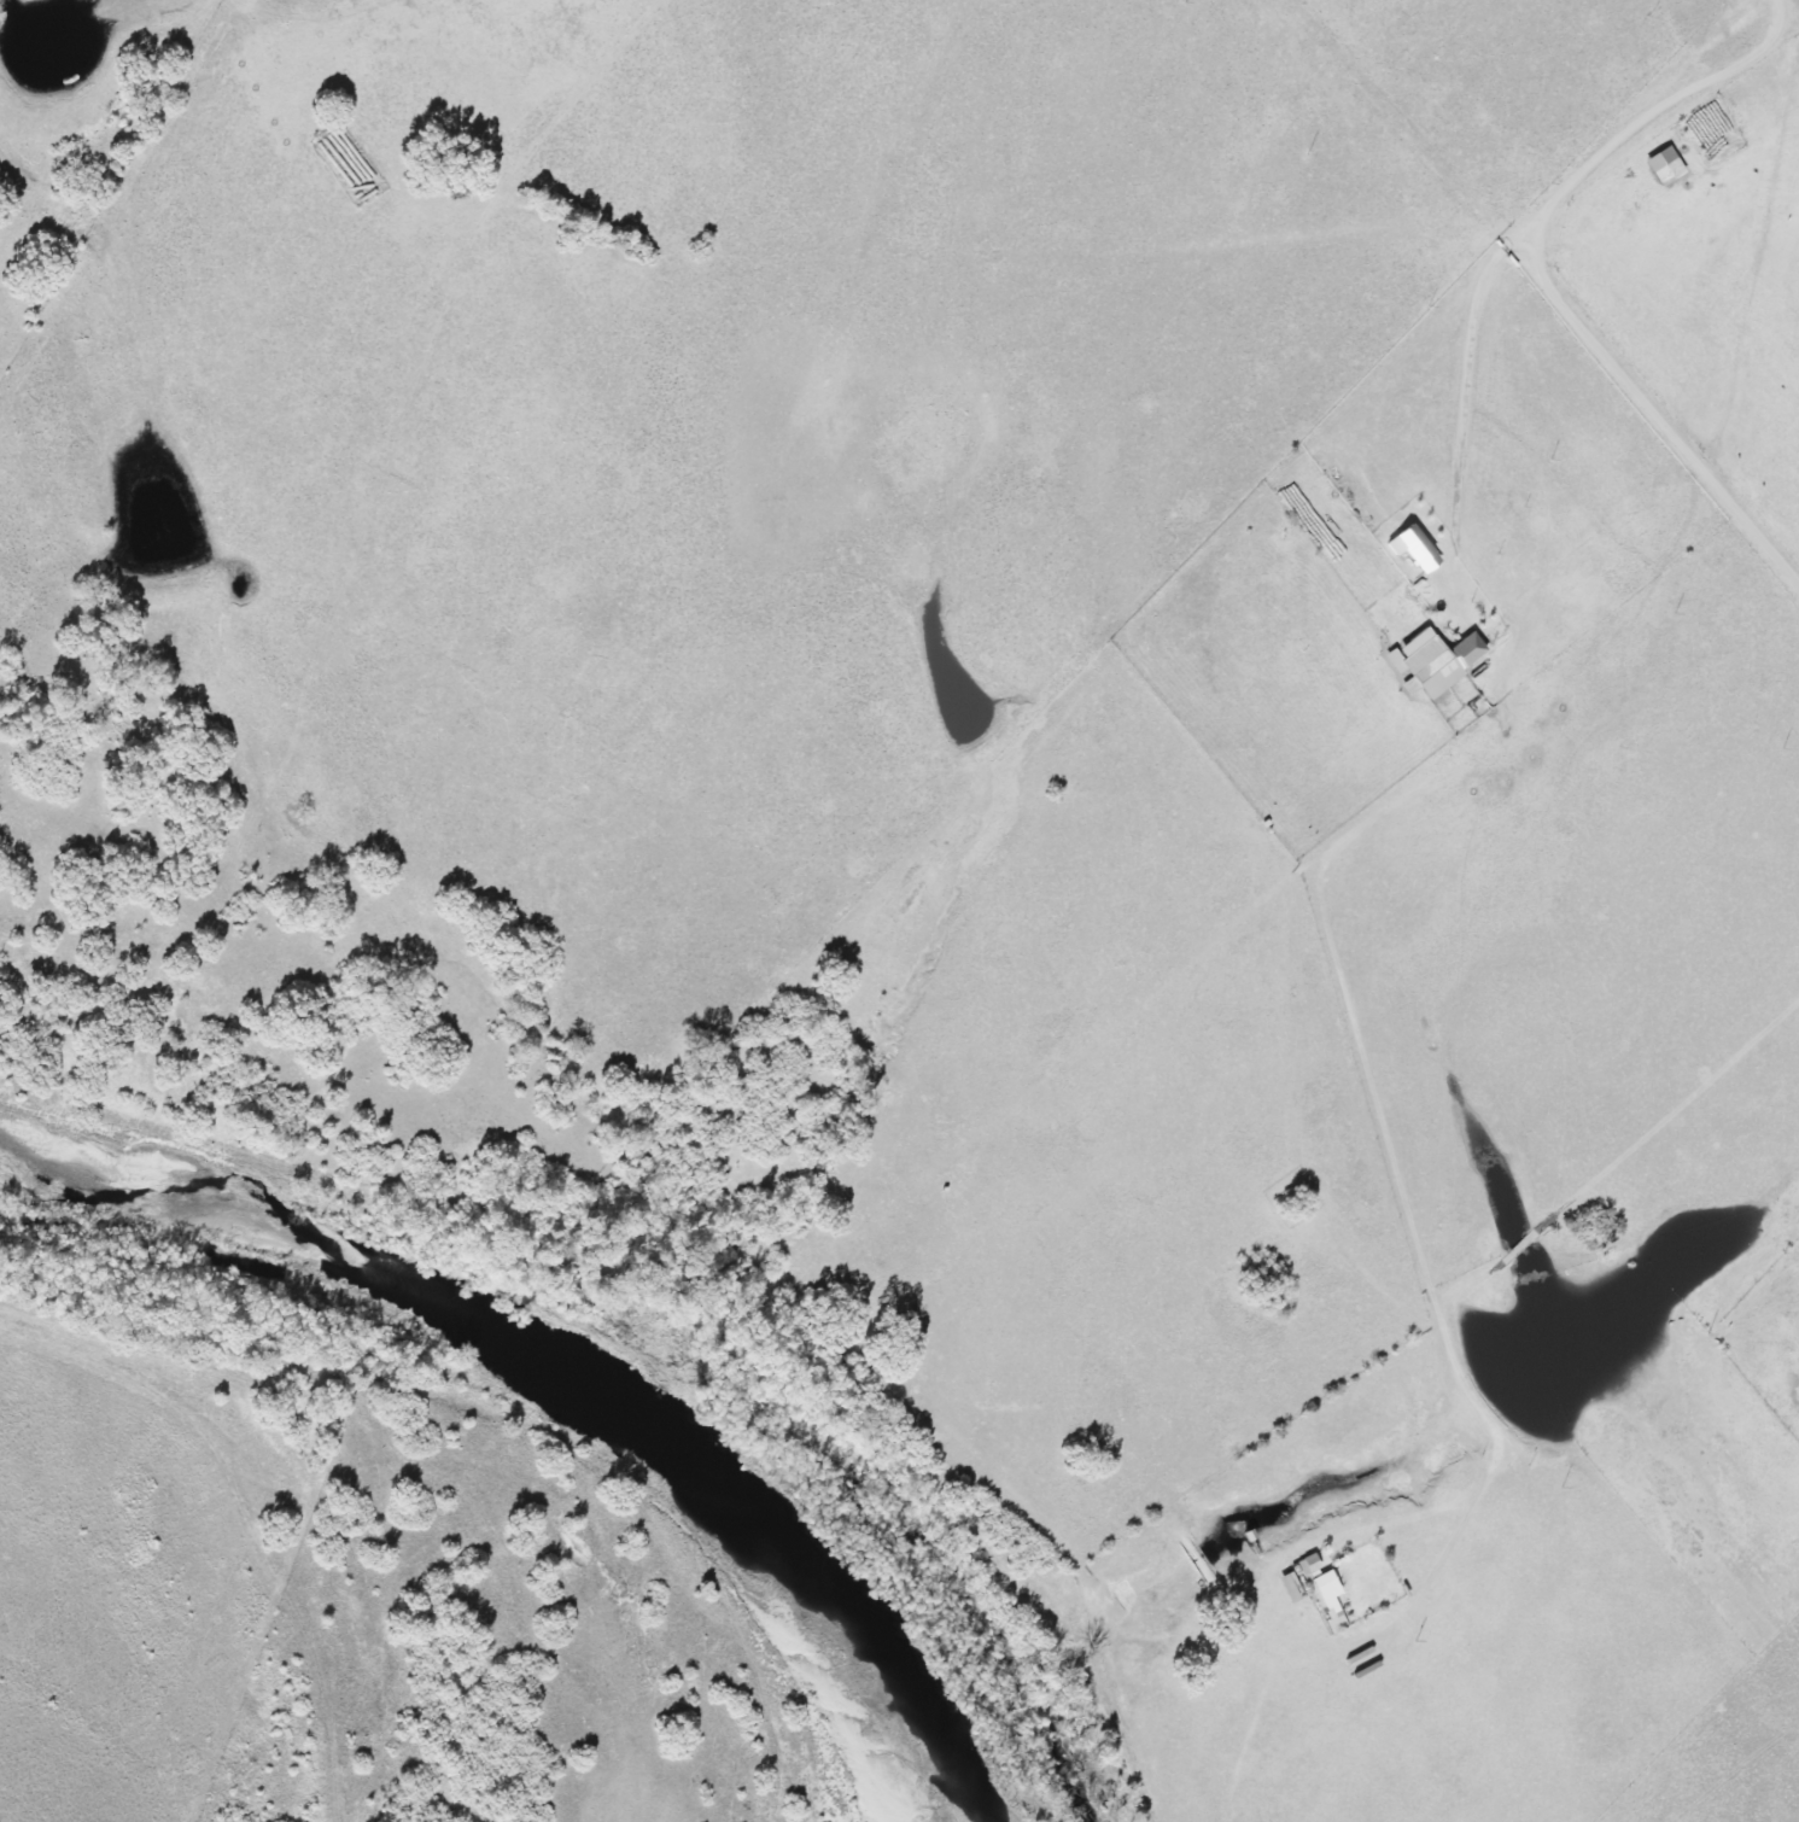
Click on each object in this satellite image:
road: (1543, 286)
road: (1466, 358)
building: (1413, 547)
building: (1432, 661)
river: (649, 1380)
building: (1290, 1588)
building: (1322, 1593)

